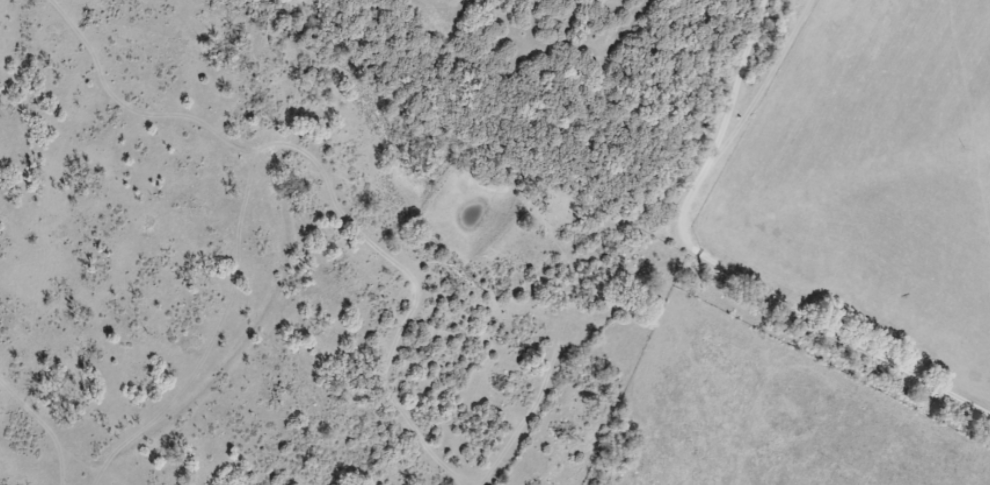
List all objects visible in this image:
road: (725, 264)

